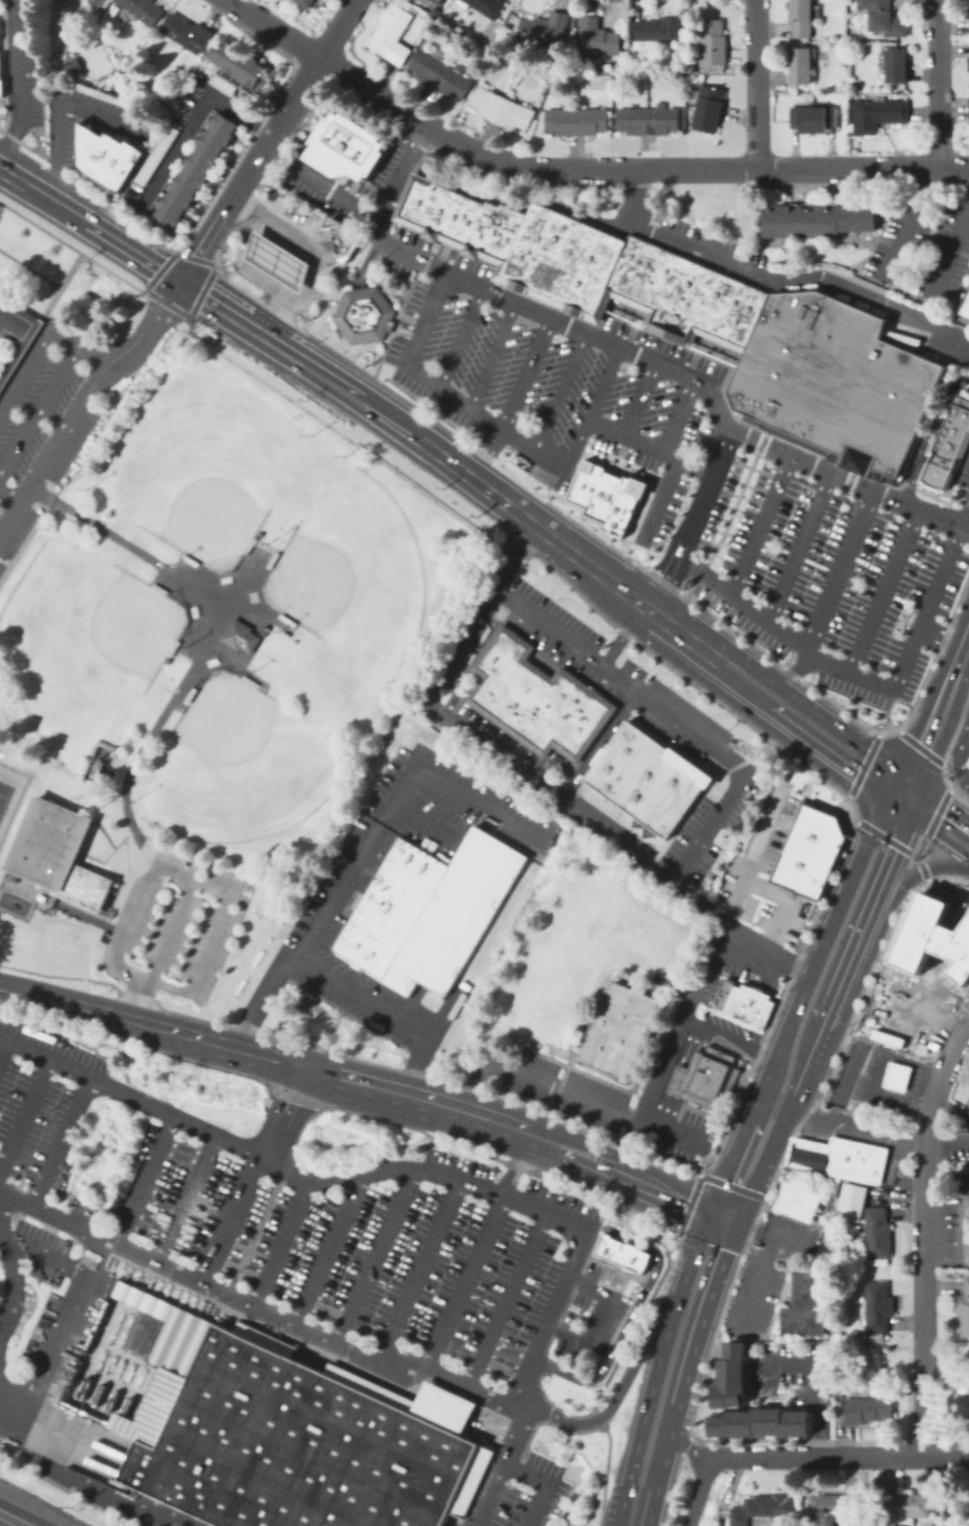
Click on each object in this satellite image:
building: (103, 0)
building: (441, 1)
building: (93, 2)
building: (307, 3)
building: (487, 6)
building: (139, 9)
building: (968, 17)
building: (803, 19)
building: (888, 20)
road: (273, 27)
road: (336, 27)
building: (547, 29)
building: (660, 29)
building: (184, 33)
building: (394, 33)
building: (600, 37)
building: (715, 43)
parking lot: (23, 63)
building: (239, 64)
building: (70, 65)
building: (801, 66)
building: (899, 66)
building: (968, 70)
building: (442, 74)
road: (16, 77)
building: (221, 82)
road: (755, 83)
road: (937, 83)
building: (1, 85)
road: (54, 104)
building: (503, 107)
building: (968, 109)
building: (710, 110)
building: (880, 116)
building: (815, 119)
building: (580, 121)
building: (649, 121)
road: (192, 122)
parking lot: (135, 133)
building: (343, 144)
road: (473, 151)
building: (155, 154)
building: (106, 156)
road: (810, 167)
road: (250, 169)
building: (194, 170)
road: (5, 173)
road: (320, 182)
building: (410, 198)
road: (47, 200)
building: (425, 204)
building: (437, 212)
building: (452, 216)
building: (815, 218)
building: (466, 221)
road: (612, 226)
building: (479, 228)
building: (495, 230)
building: (509, 234)
building: (336, 242)
road: (260, 245)
parking lot: (923, 246)
building: (524, 247)
parking lot: (711, 249)
road: (133, 253)
road: (83, 254)
building: (277, 258)
gas station: (277, 258)
road: (282, 260)
building: (624, 264)
building: (575, 266)
road: (29, 267)
building: (640, 272)
building: (657, 278)
road: (775, 281)
traffic signals: (182, 283)
road: (59, 285)
road: (306, 294)
building: (680, 299)
building: (713, 302)
building: (965, 305)
road: (278, 311)
building: (731, 311)
building: (361, 313)
road: (253, 316)
building: (747, 317)
building: (12, 321)
road: (243, 333)
road: (43, 334)
road: (12, 337)
road: (460, 337)
building: (19, 340)
road: (19, 349)
road: (627, 350)
road: (491, 355)
building: (833, 381)
road: (338, 384)
road: (442, 391)
road: (556, 393)
road: (639, 395)
road: (512, 398)
road: (83, 400)
road: (589, 409)
road: (40, 410)
road: (676, 411)
road: (402, 429)
road: (929, 433)
parking lot: (40, 437)
road: (652, 441)
building: (946, 444)
parking lot: (675, 457)
park: (201, 474)
building: (587, 476)
road: (10, 493)
building: (611, 493)
road: (704, 495)
road: (671, 498)
building: (634, 503)
road: (732, 511)
road: (529, 522)
road: (758, 526)
building: (256, 532)
building: (247, 545)
road: (797, 548)
building: (187, 559)
building: (270, 559)
road: (836, 570)
park: (350, 571)
road: (661, 583)
building: (156, 587)
road: (883, 590)
road: (637, 600)
building: (285, 618)
building: (262, 629)
building: (238, 634)
road: (208, 635)
road: (623, 635)
road: (685, 636)
road: (944, 637)
road: (718, 641)
park: (81, 645)
building: (171, 647)
building: (164, 659)
building: (496, 662)
road: (794, 672)
road: (863, 678)
building: (248, 680)
road: (738, 687)
building: (509, 688)
building: (187, 694)
building: (526, 701)
road: (938, 704)
building: (548, 705)
road: (813, 711)
road: (669, 713)
building: (575, 723)
road: (968, 725)
parking lot: (686, 728)
road: (887, 731)
road: (597, 743)
road: (919, 745)
road: (18, 747)
road: (492, 749)
road: (827, 752)
road: (958, 753)
parking lot: (961, 757)
building: (967, 761)
building: (968, 764)
park: (236, 765)
road: (862, 765)
road: (24, 770)
road: (943, 776)
building: (646, 777)
traffic signals: (907, 779)
park: (4, 793)
traffic signals: (885, 795)
road: (907, 795)
road: (959, 796)
road: (937, 802)
road: (896, 803)
road: (82, 810)
traffic signals: (907, 811)
road: (936, 812)
road: (937, 833)
road: (879, 834)
road: (125, 839)
road: (363, 839)
road: (919, 845)
building: (808, 851)
road: (888, 852)
building: (54, 853)
road: (915, 855)
road: (755, 857)
traffic signals: (955, 864)
road: (156, 868)
road: (918, 870)
road: (922, 871)
road: (948, 877)
road: (117, 897)
road: (37, 900)
road: (34, 901)
road: (113, 901)
road: (55, 902)
parking lot: (328, 906)
road: (781, 907)
building: (429, 910)
road: (114, 911)
parking lot: (754, 911)
road: (90, 918)
parking lot: (179, 921)
road: (209, 943)
road: (821, 945)
building: (933, 946)
road: (765, 952)
road: (848, 958)
road: (782, 989)
building: (722, 994)
road: (141, 999)
road: (875, 1002)
building: (748, 1003)
road: (386, 1009)
parking lot: (912, 1016)
building: (605, 1025)
parking lot: (726, 1031)
building: (632, 1035)
road: (676, 1037)
road: (730, 1037)
road: (2, 1045)
road: (694, 1046)
road: (841, 1047)
road: (252, 1049)
road: (802, 1068)
building: (896, 1074)
building: (706, 1077)
road: (680, 1079)
parking lot: (550, 1085)
parking lot: (893, 1087)
road: (870, 1090)
road: (567, 1091)
building: (966, 1104)
road: (285, 1110)
road: (666, 1111)
road: (24, 1113)
road: (853, 1129)
parking lot: (682, 1137)
parking lot: (867, 1139)
road: (60, 1141)
parking lot: (953, 1146)
road: (610, 1149)
building: (796, 1150)
building: (815, 1154)
road: (731, 1157)
building: (854, 1158)
road: (521, 1164)
road: (758, 1168)
road: (600, 1174)
road: (700, 1174)
road: (440, 1176)
road: (144, 1179)
building: (961, 1181)
traffic signals: (716, 1194)
road: (185, 1198)
building: (853, 1201)
building: (798, 1202)
building: (967, 1206)
road: (710, 1207)
road: (726, 1208)
road: (230, 1218)
traffic signals: (705, 1220)
road: (720, 1221)
traffic signals: (736, 1223)
road: (751, 1226)
parking lot: (286, 1227)
road: (758, 1230)
road: (921, 1232)
parking lot: (949, 1232)
building: (877, 1233)
road: (793, 1242)
road: (281, 1243)
road: (323, 1249)
building: (621, 1251)
building: (967, 1254)
road: (374, 1257)
road: (47, 1260)
parking lot: (767, 1273)
road: (419, 1274)
road: (463, 1282)
road: (13, 1283)
road: (761, 1285)
road: (507, 1300)
building: (805, 1305)
building: (878, 1306)
building: (964, 1309)
road: (259, 1310)
road: (631, 1312)
road: (703, 1312)
road: (595, 1317)
road: (636, 1322)
road: (63, 1335)
building: (872, 1337)
road: (711, 1338)
road: (655, 1371)
parking lot: (792, 1373)
building: (728, 1377)
road: (811, 1380)
road: (614, 1396)
building: (962, 1407)
building: (864, 1408)
road: (596, 1417)
building: (759, 1421)
building: (286, 1431)
road: (684, 1445)
road: (687, 1447)
road: (783, 1456)
road: (912, 1456)
road: (661, 1465)
road: (604, 1473)
road: (548, 1480)
road: (81, 1482)
road: (670, 1489)
road: (698, 1490)
parking lot: (531, 1493)
building: (763, 1507)
building: (962, 1507)
building: (902, 1508)
building: (834, 1509)
road: (26, 1513)

